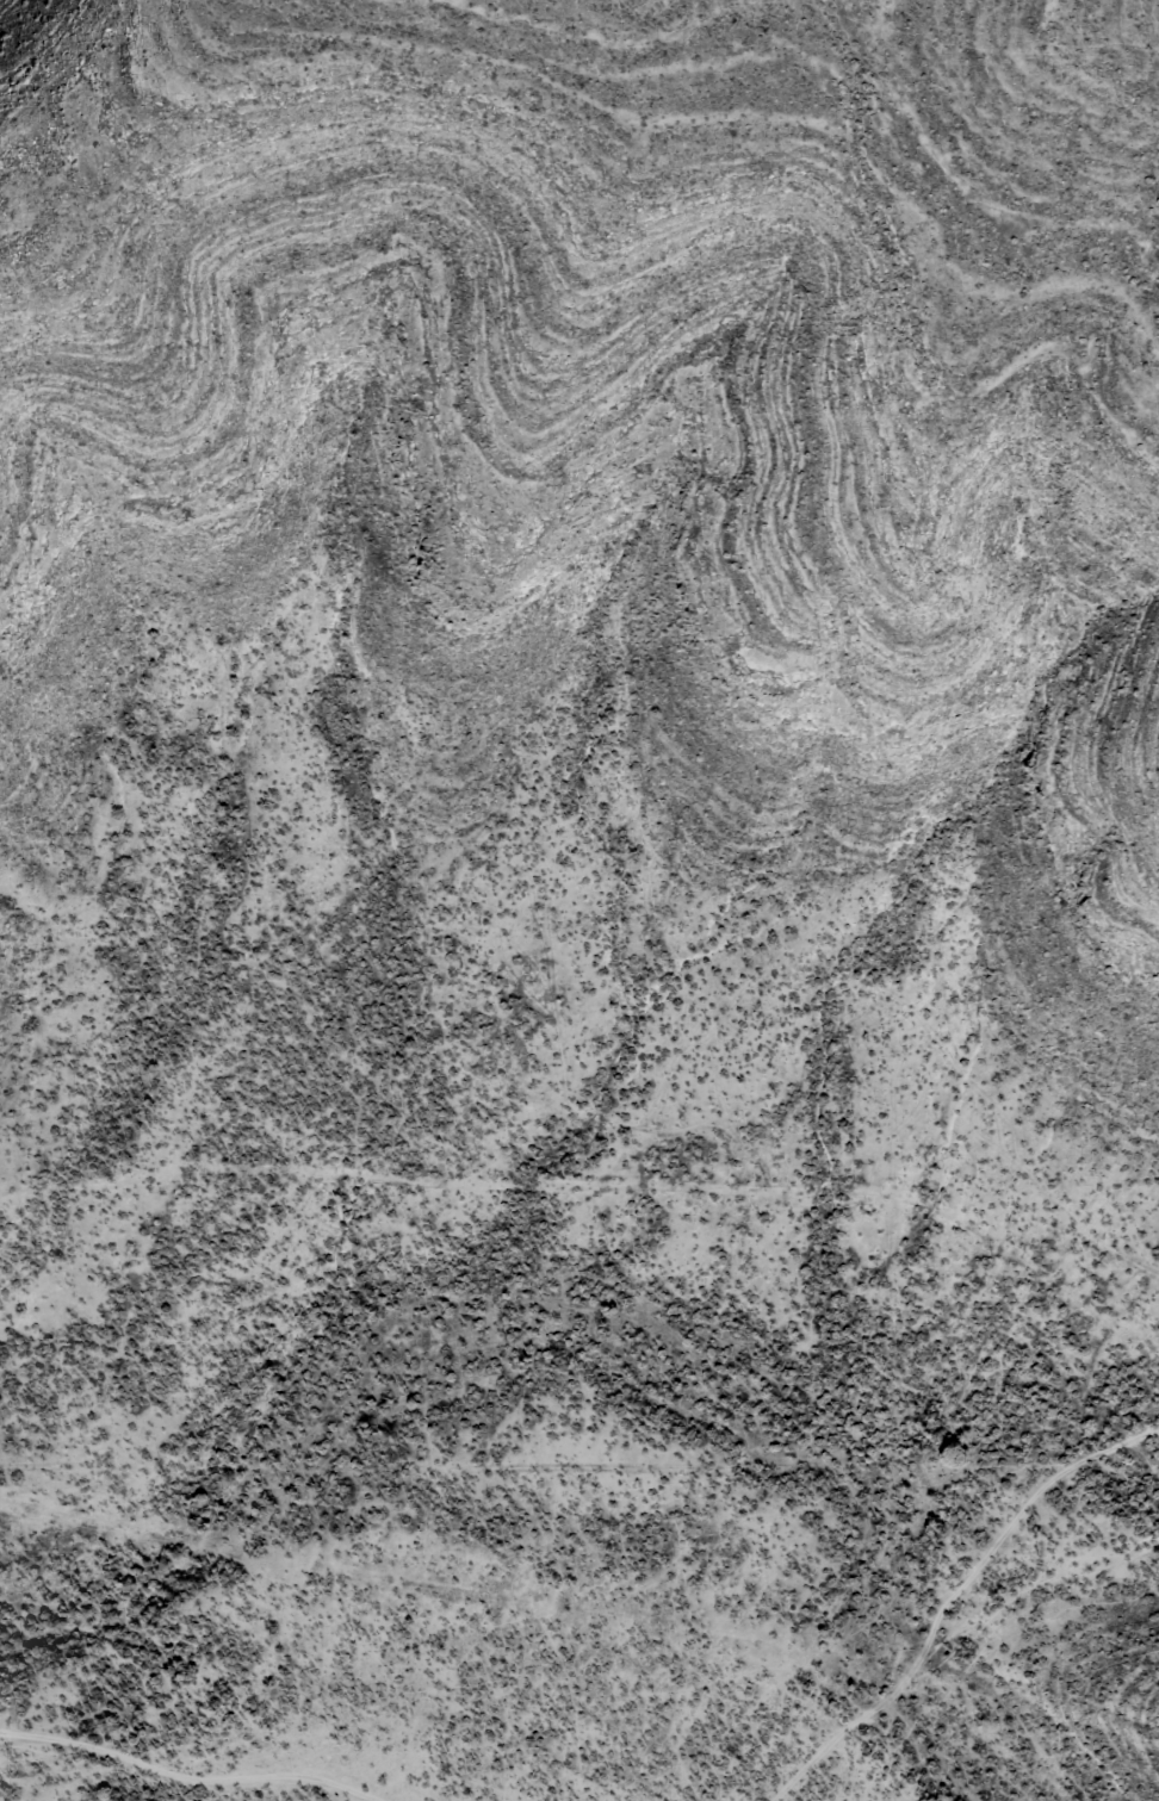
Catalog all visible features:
road: (149, 1793)

